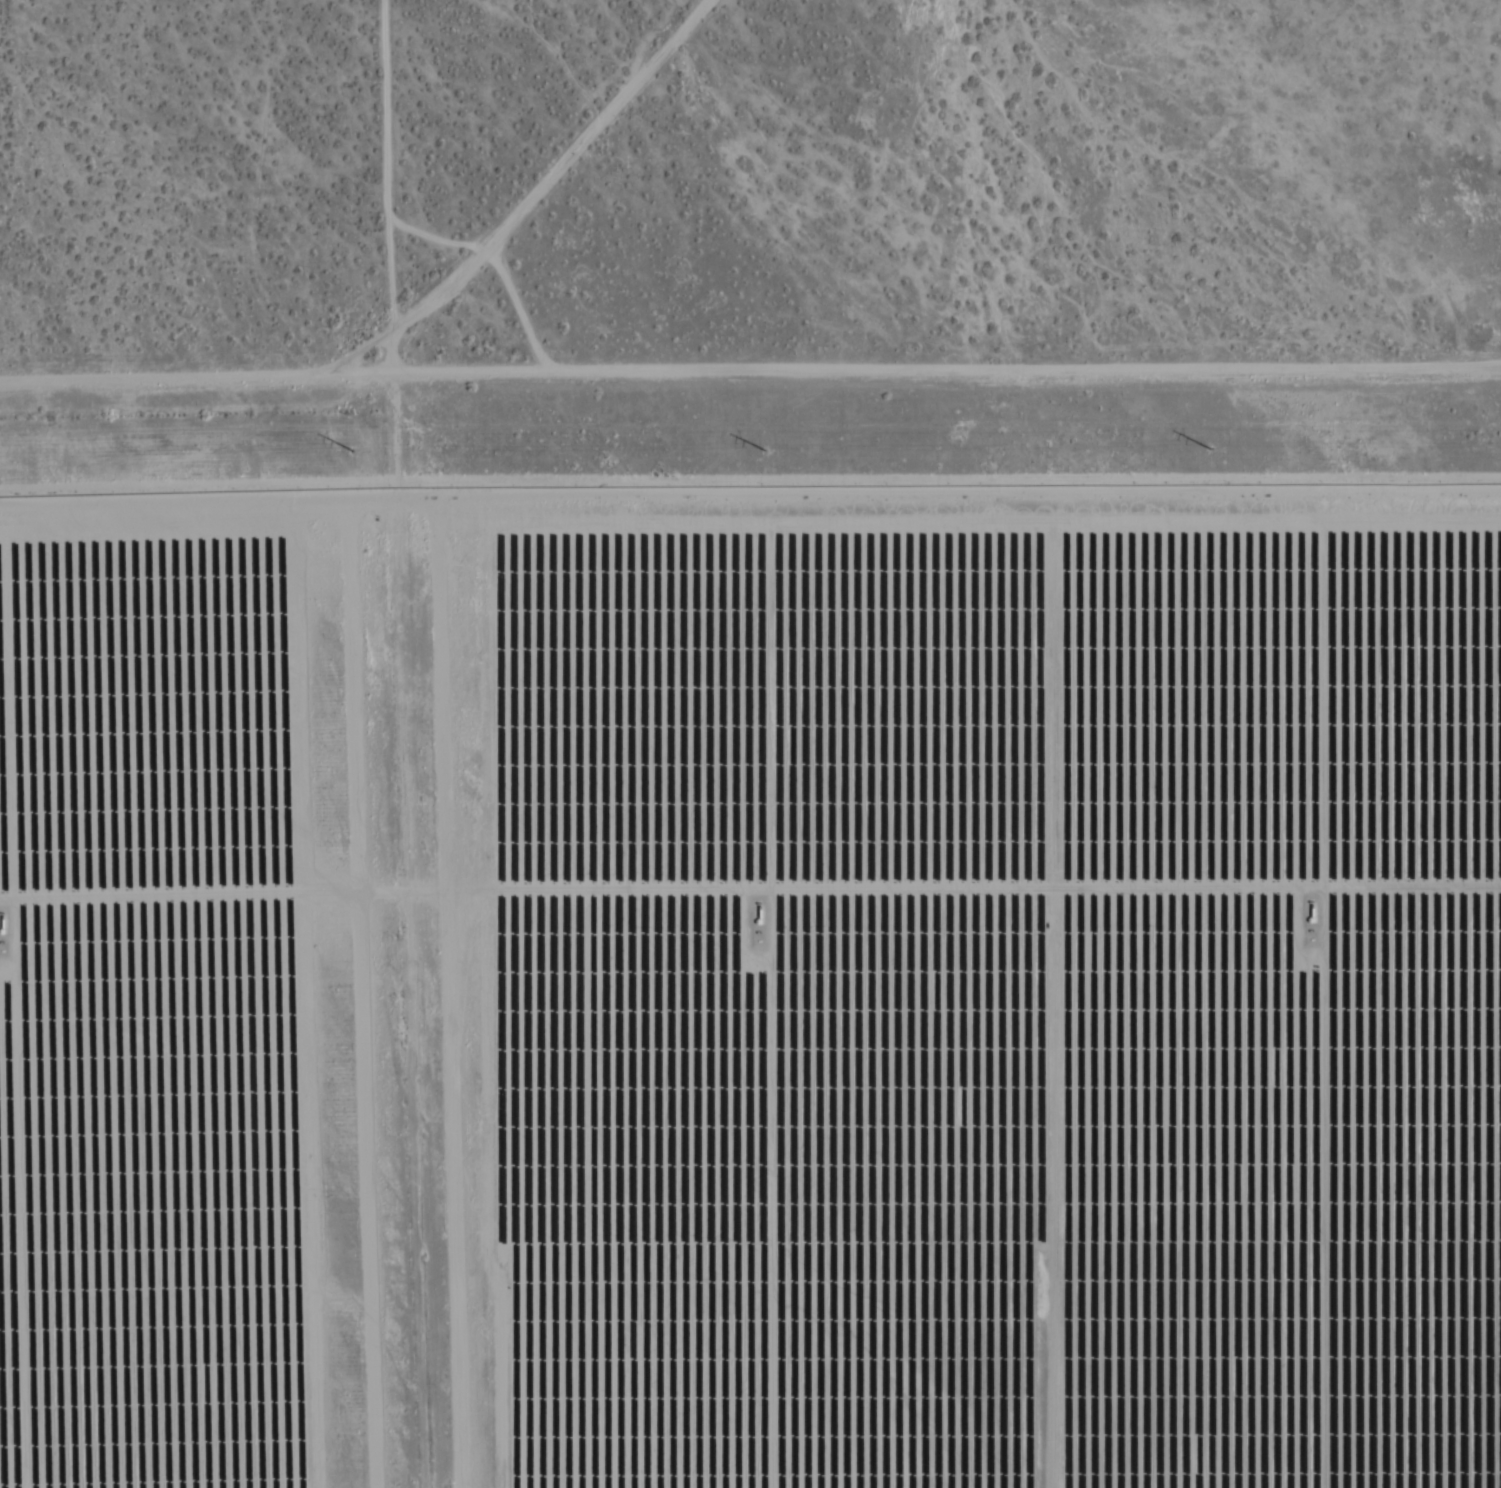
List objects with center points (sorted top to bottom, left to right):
road: (567, 177)
road: (388, 192)
road: (197, 386)
road: (947, 392)
solar farm: (751, 990)

